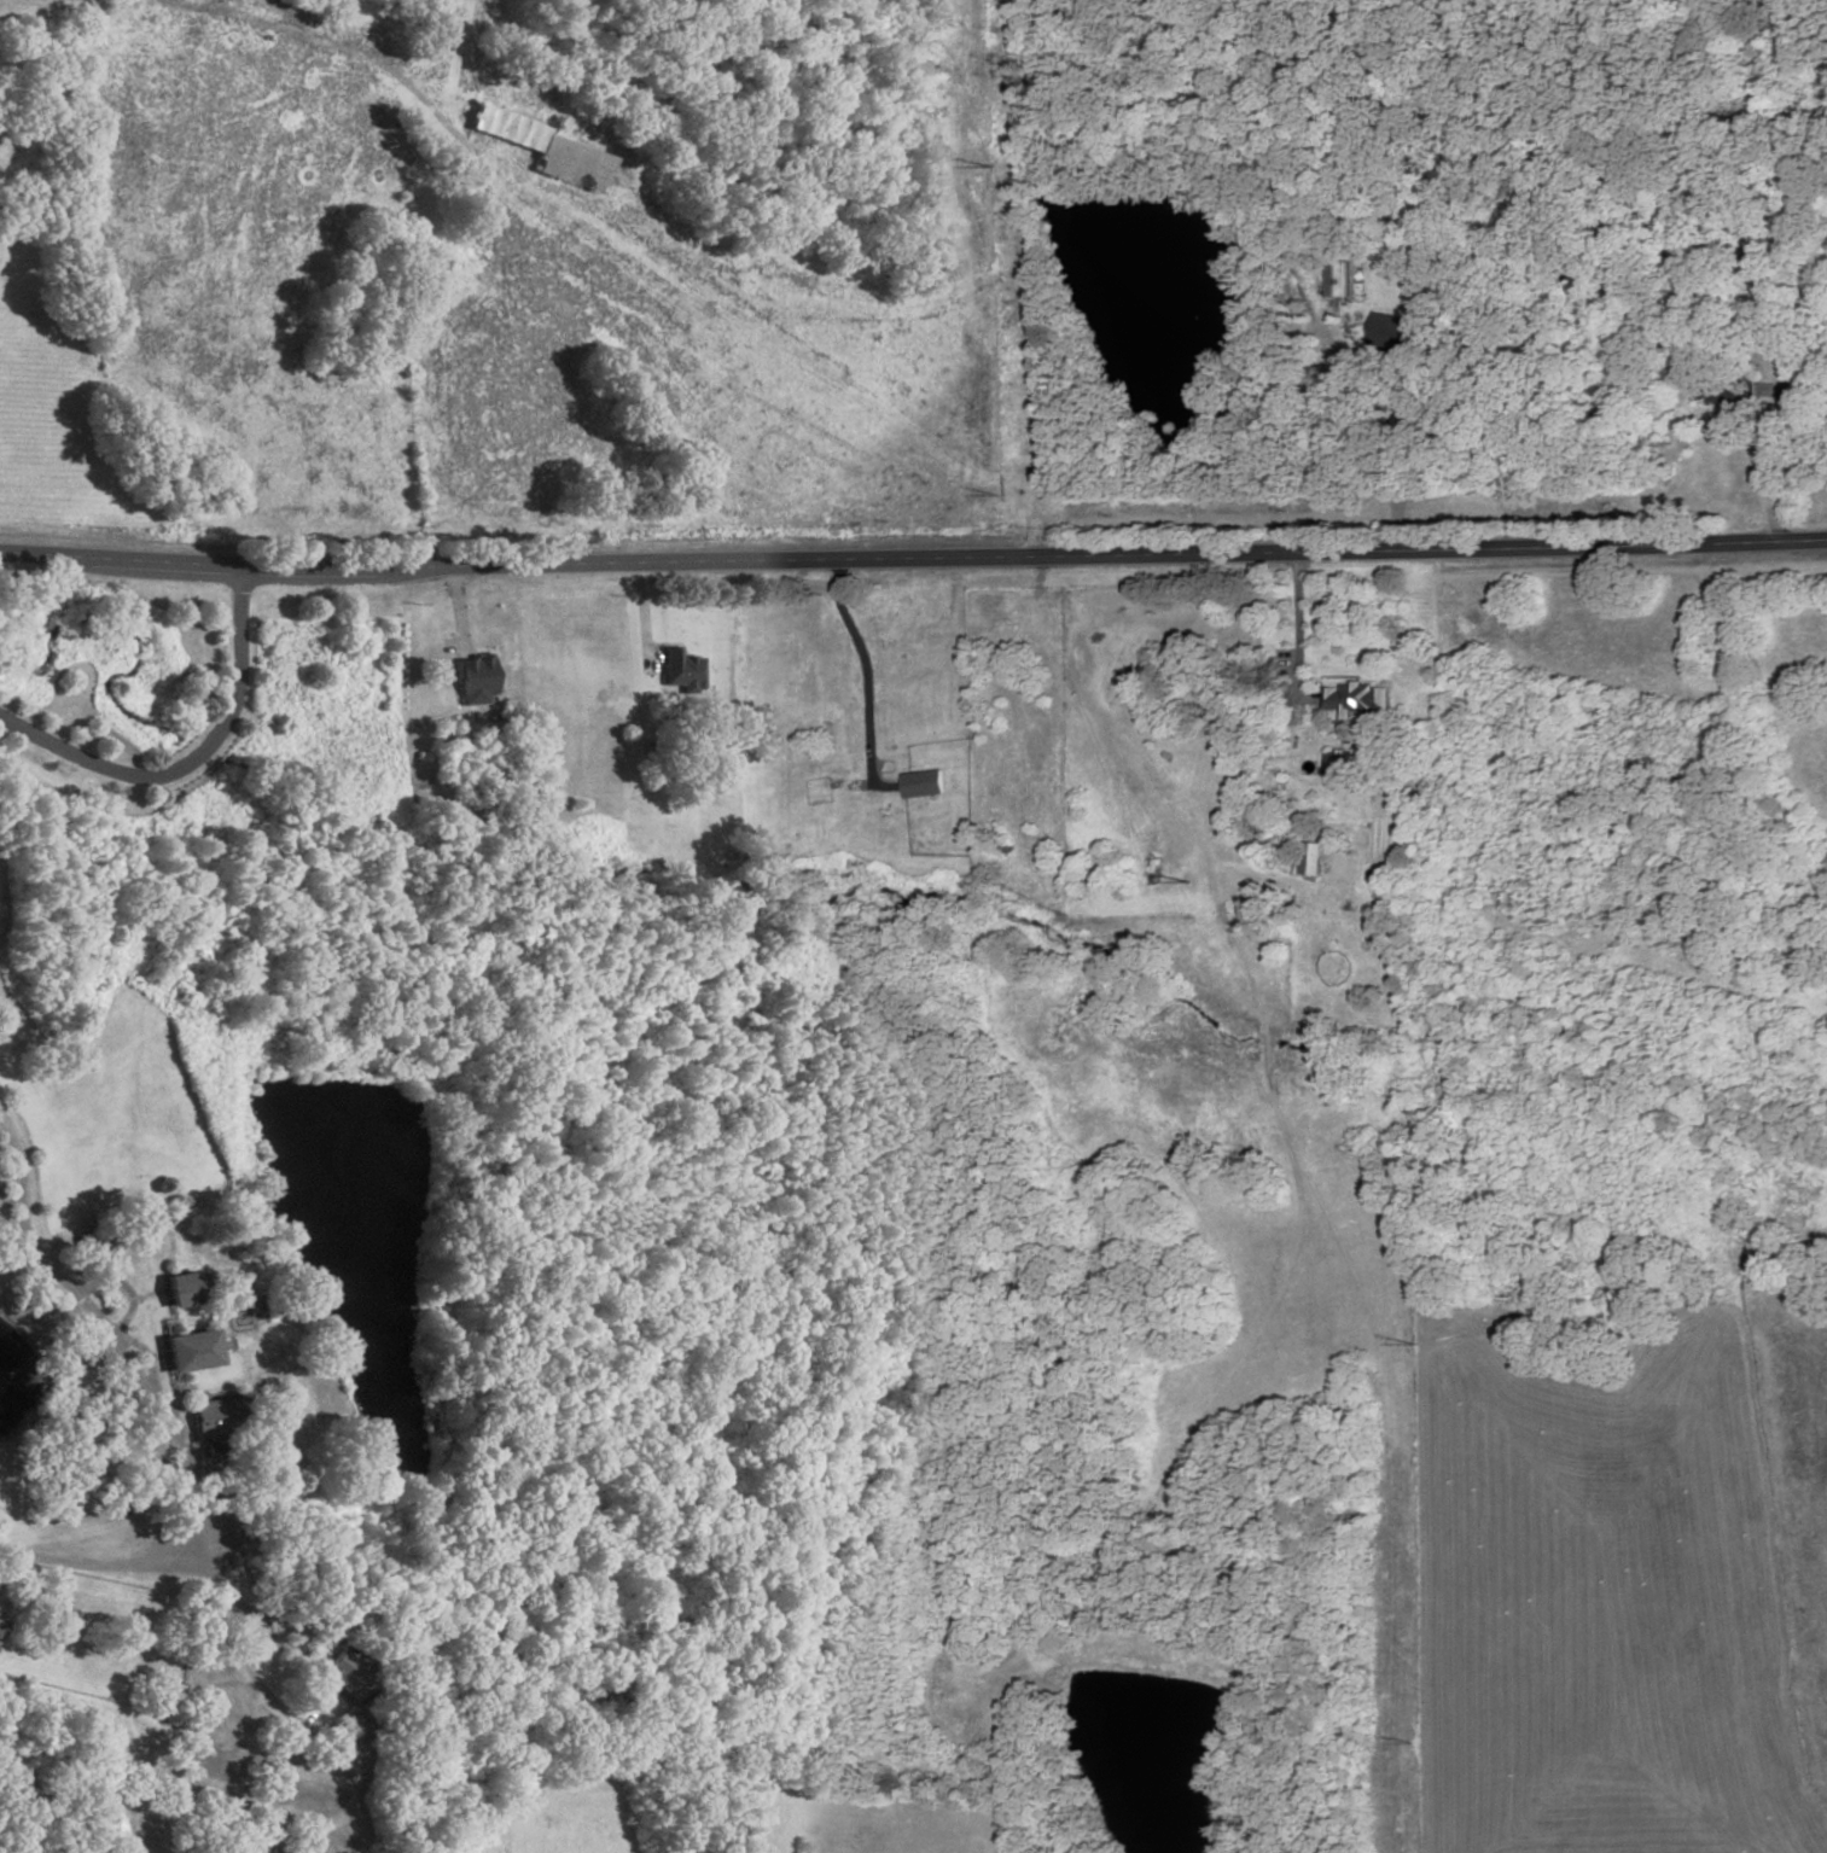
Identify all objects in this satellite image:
power tower: (995, 23)
road: (353, 54)
building: (545, 151)
building: (1337, 279)
building: (1401, 326)
building: (1723, 386)
road: (1384, 431)
road: (1808, 465)
power tower: (1005, 493)
road: (913, 557)
road: (1299, 631)
road: (868, 665)
building: (683, 670)
building: (475, 680)
building: (1357, 698)
road: (191, 761)
building: (1343, 768)
building: (923, 782)
building: (1311, 861)
power tower: (1197, 881)
road: (11, 1201)
road: (124, 1288)
building: (180, 1289)
road: (146, 1296)
road: (110, 1339)
power tower: (1413, 1348)
road: (142, 1352)
building: (190, 1352)
building: (215, 1418)
parking lot: (223, 1509)
road: (94, 1561)
building: (1, 1619)
road: (248, 1667)
building: (348, 1672)
power tower: (1410, 1744)

